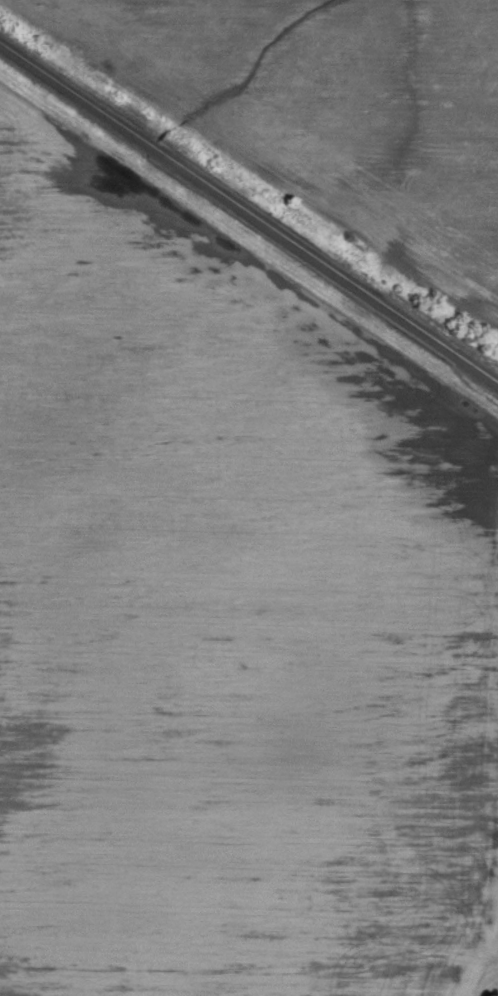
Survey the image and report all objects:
railway: (249, 214)

